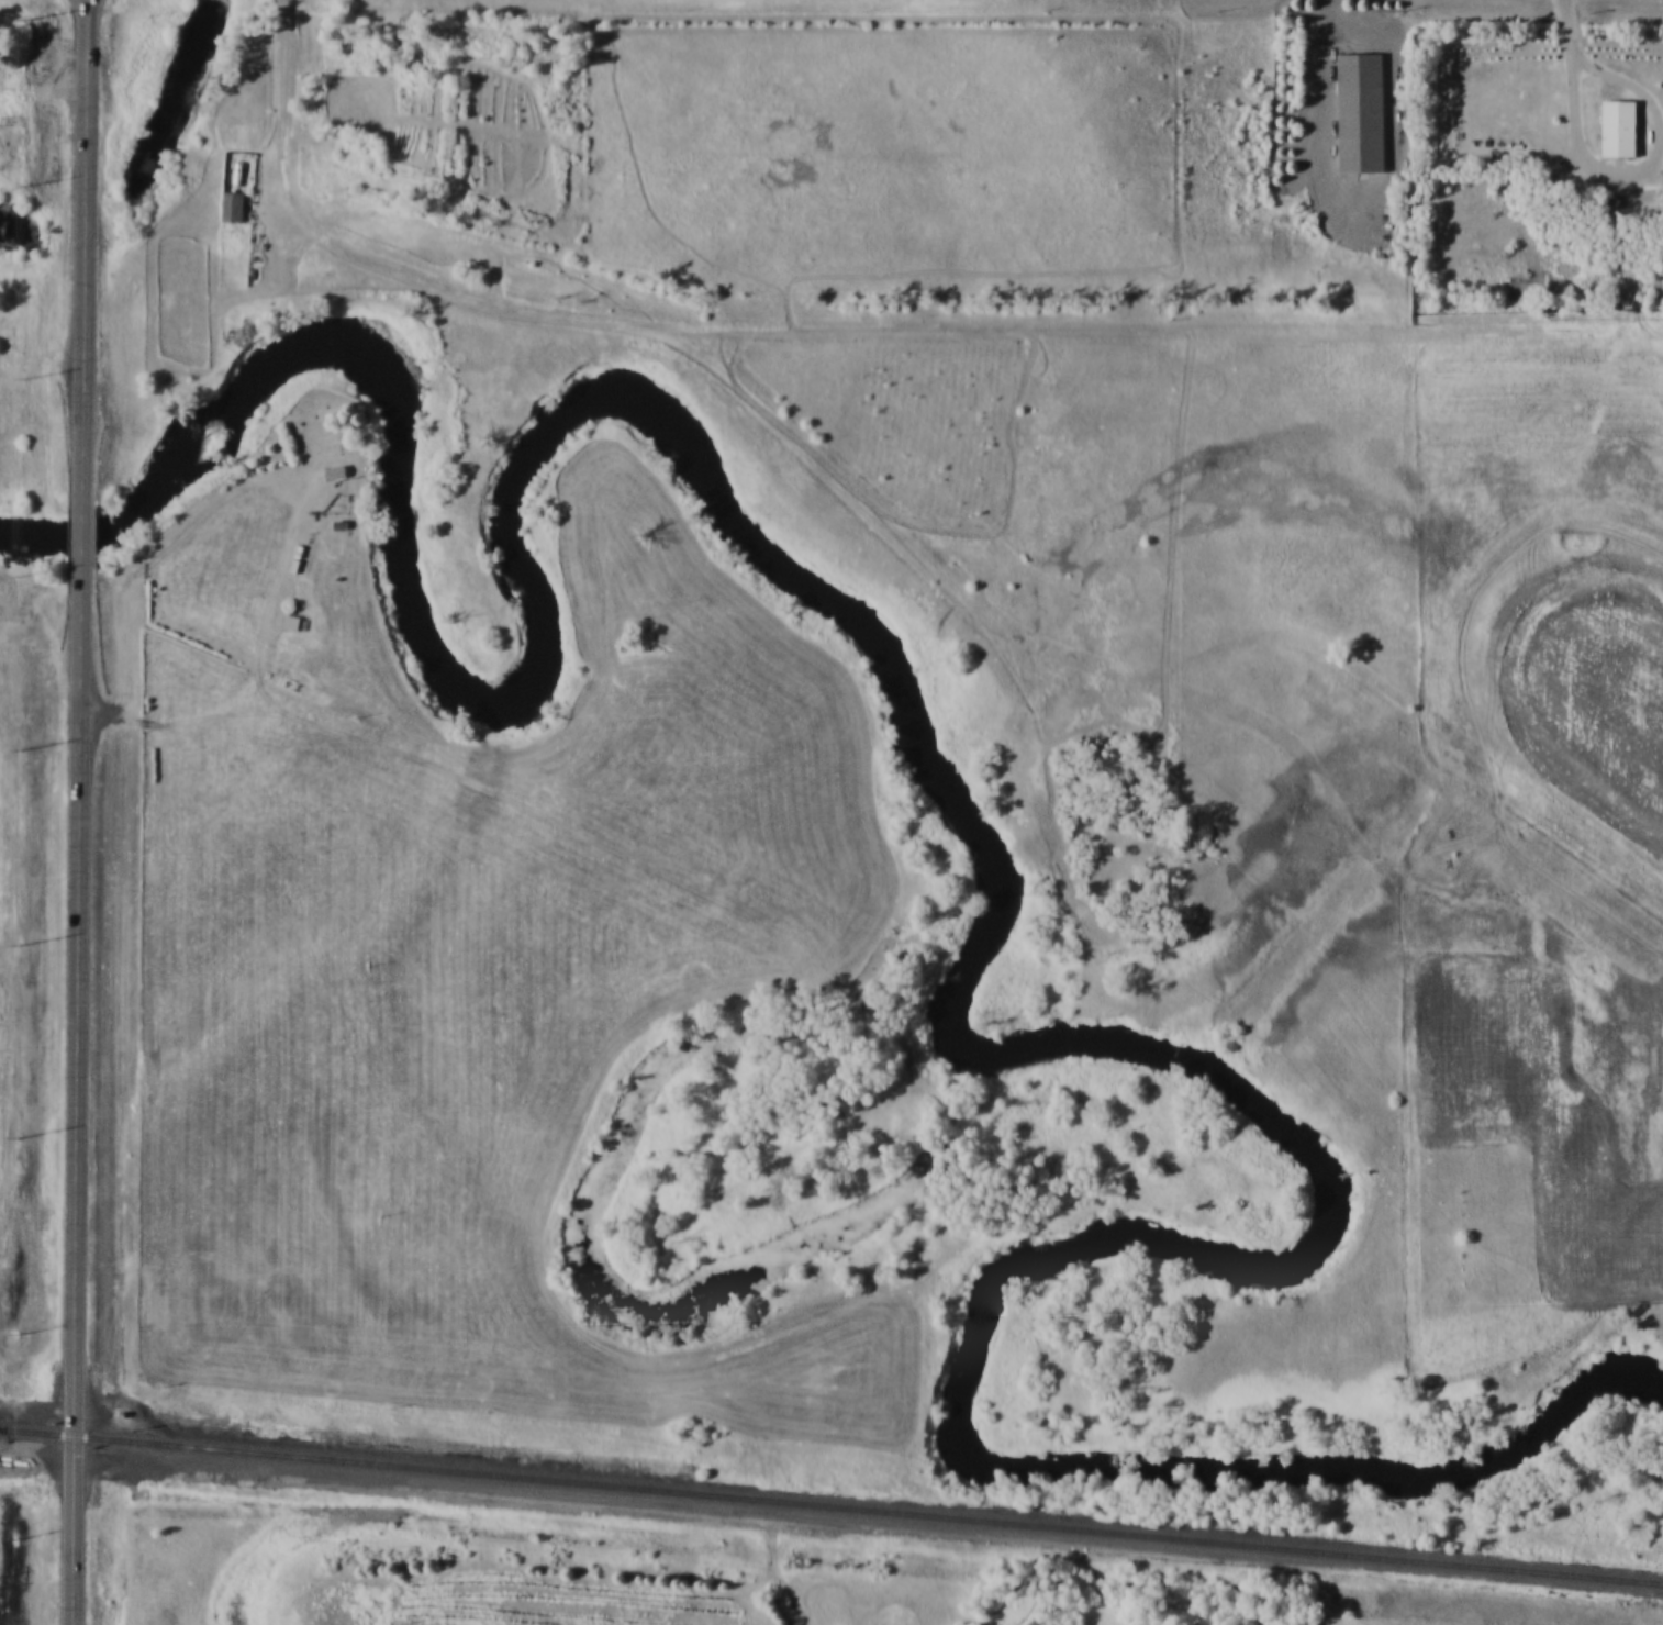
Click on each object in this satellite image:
river: (208, 9)
road: (1573, 15)
road: (283, 78)
road: (1326, 94)
river: (176, 105)
building: (1358, 111)
building: (1616, 127)
road: (1643, 169)
building: (235, 205)
river: (96, 215)
river: (24, 231)
road: (82, 258)
building: (337, 472)
building: (344, 525)
road: (80, 544)
river: (1008, 899)
road: (76, 1098)
railway: (831, 1504)

